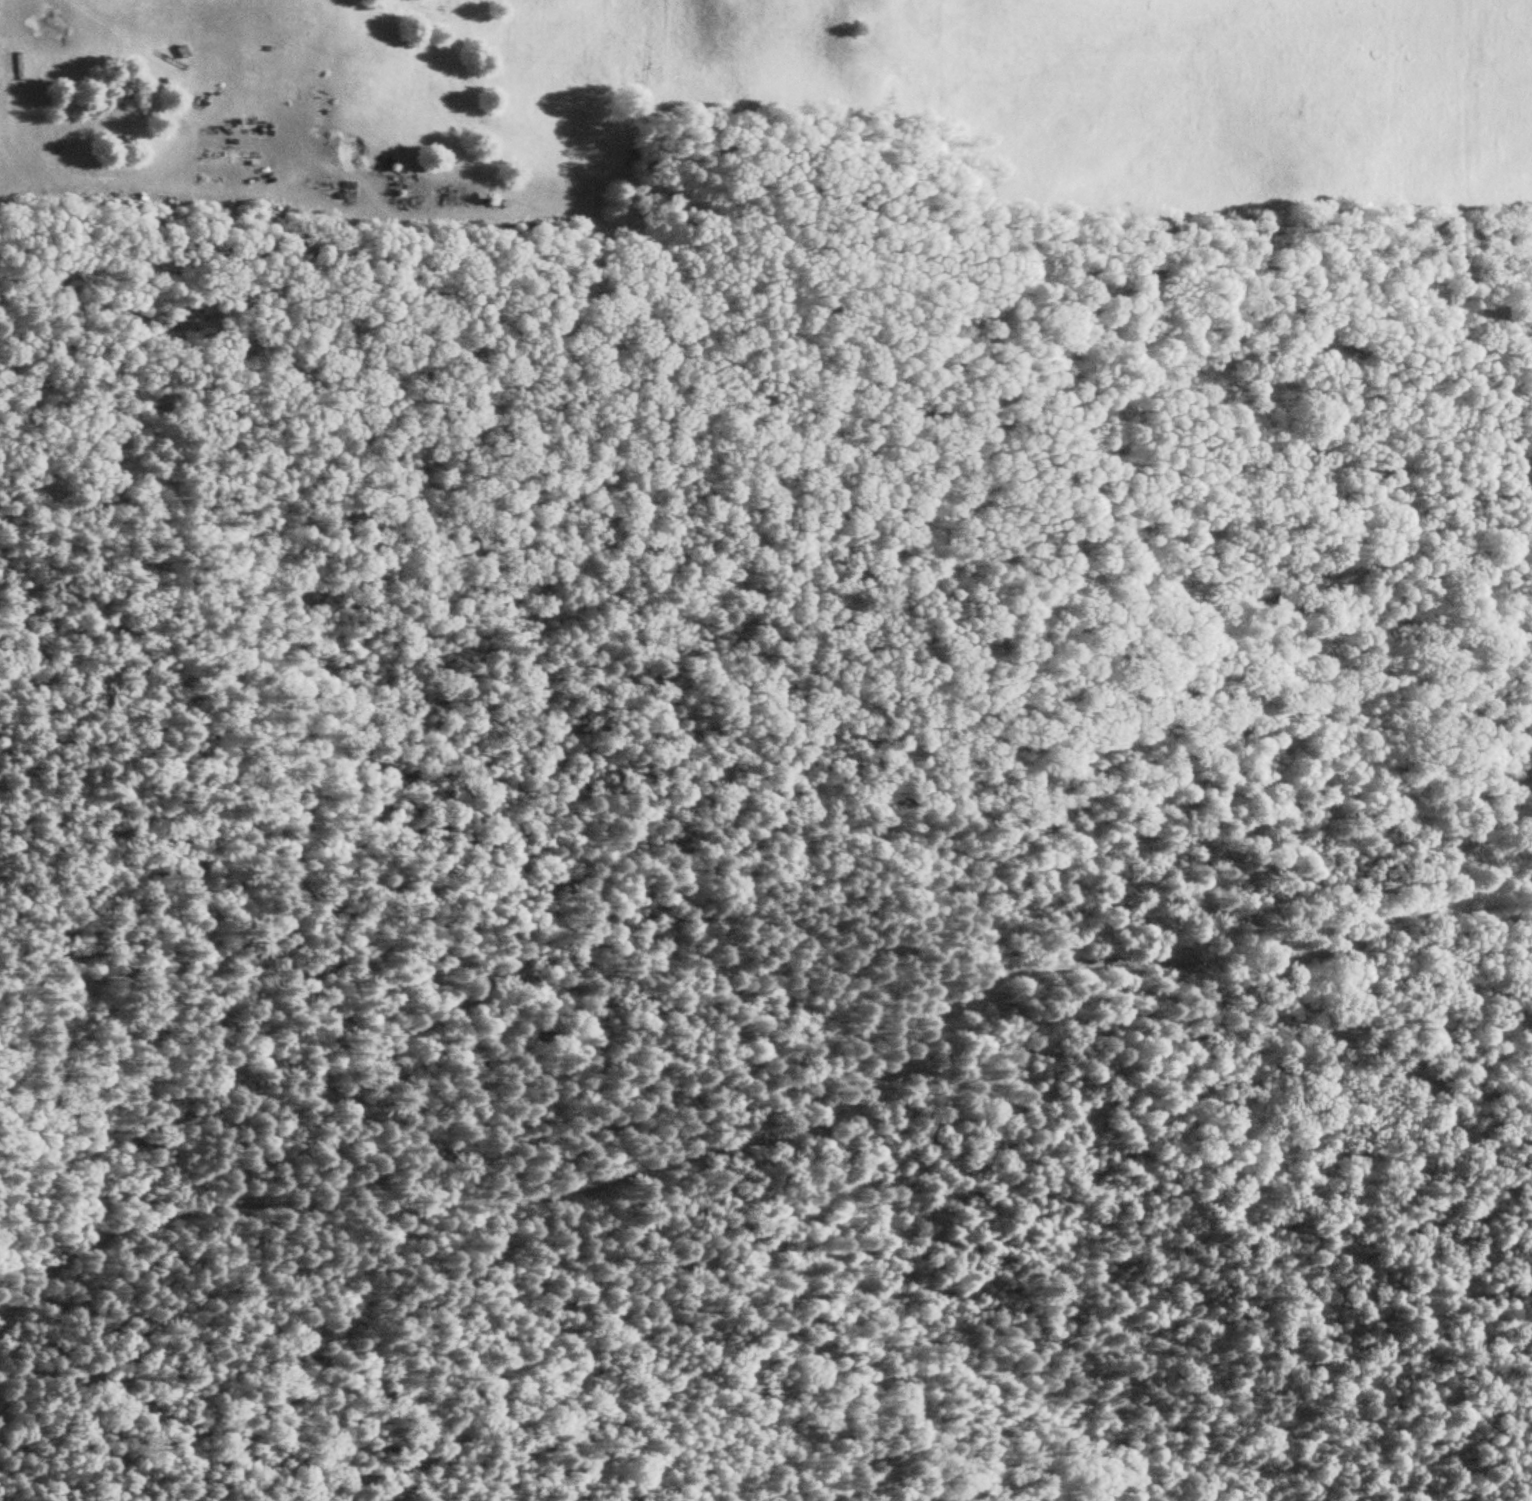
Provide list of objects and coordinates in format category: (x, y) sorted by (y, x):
road: (1395, 1004)
road: (799, 1127)

